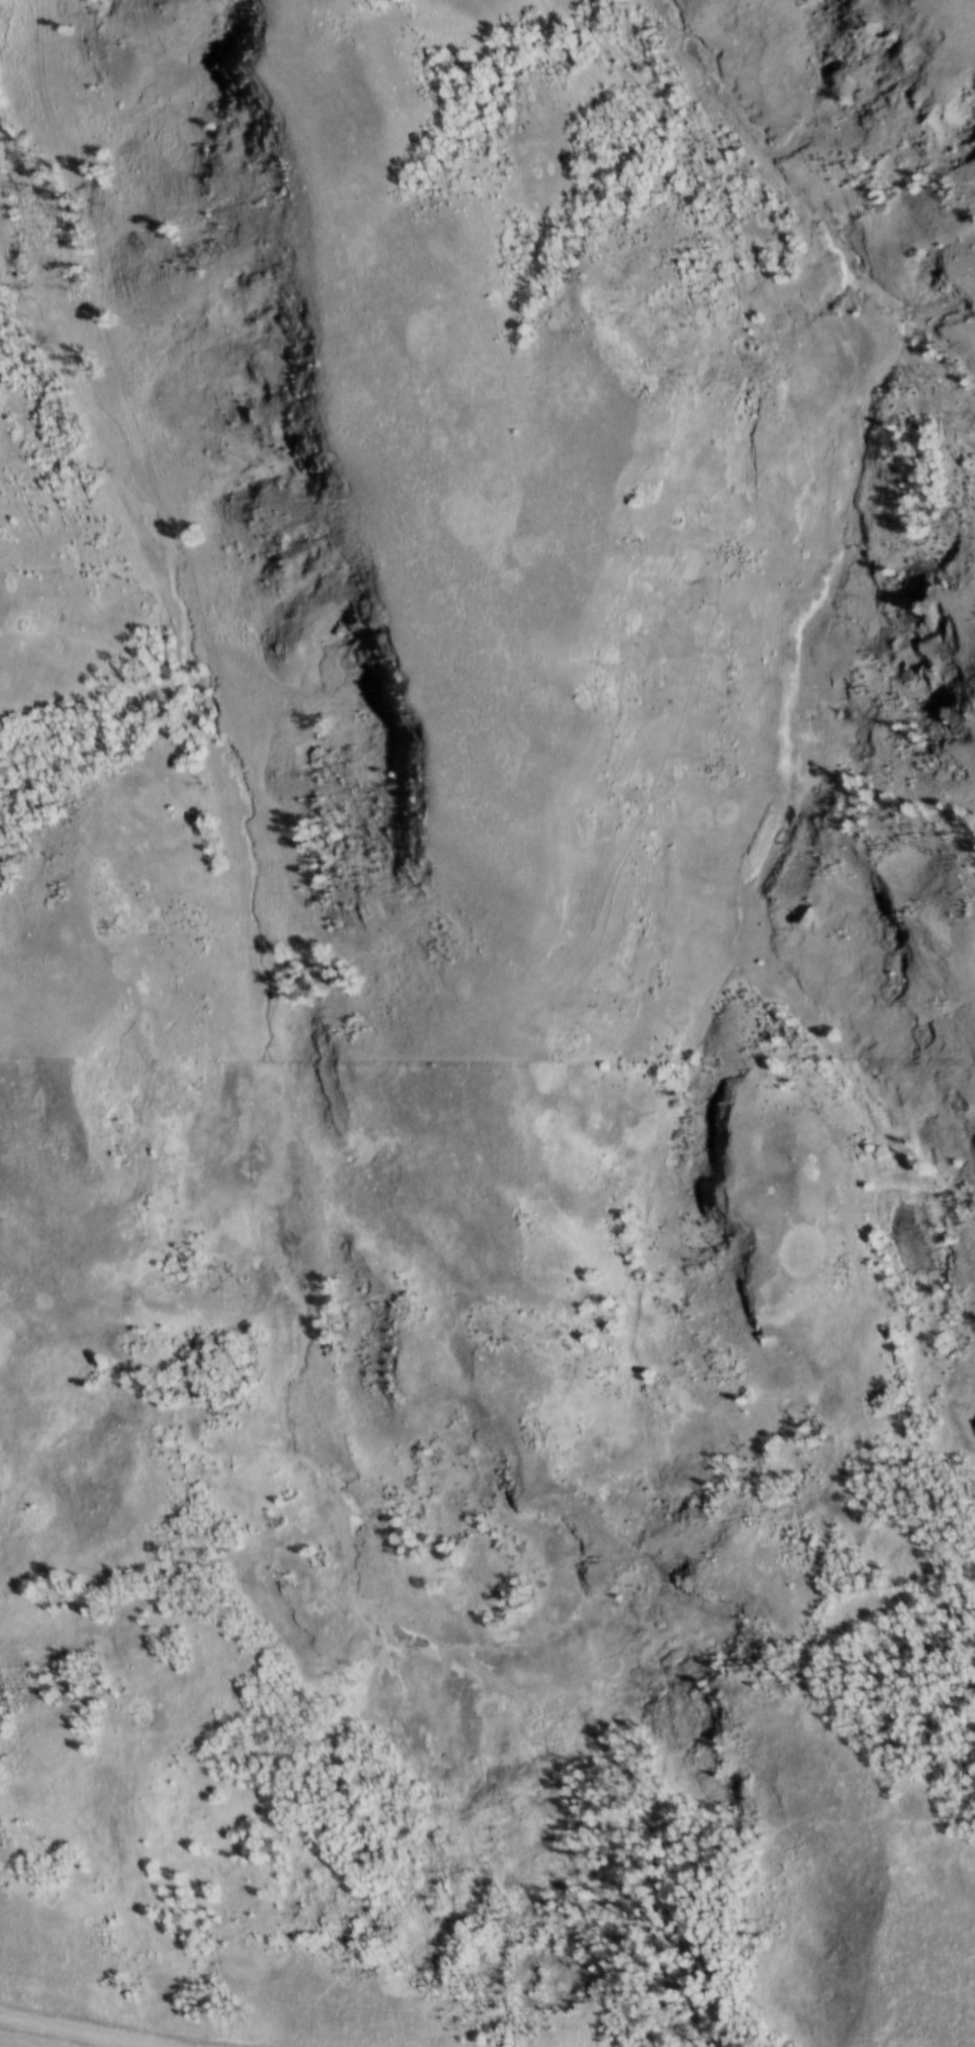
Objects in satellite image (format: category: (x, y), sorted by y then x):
road: (88, 2017)

